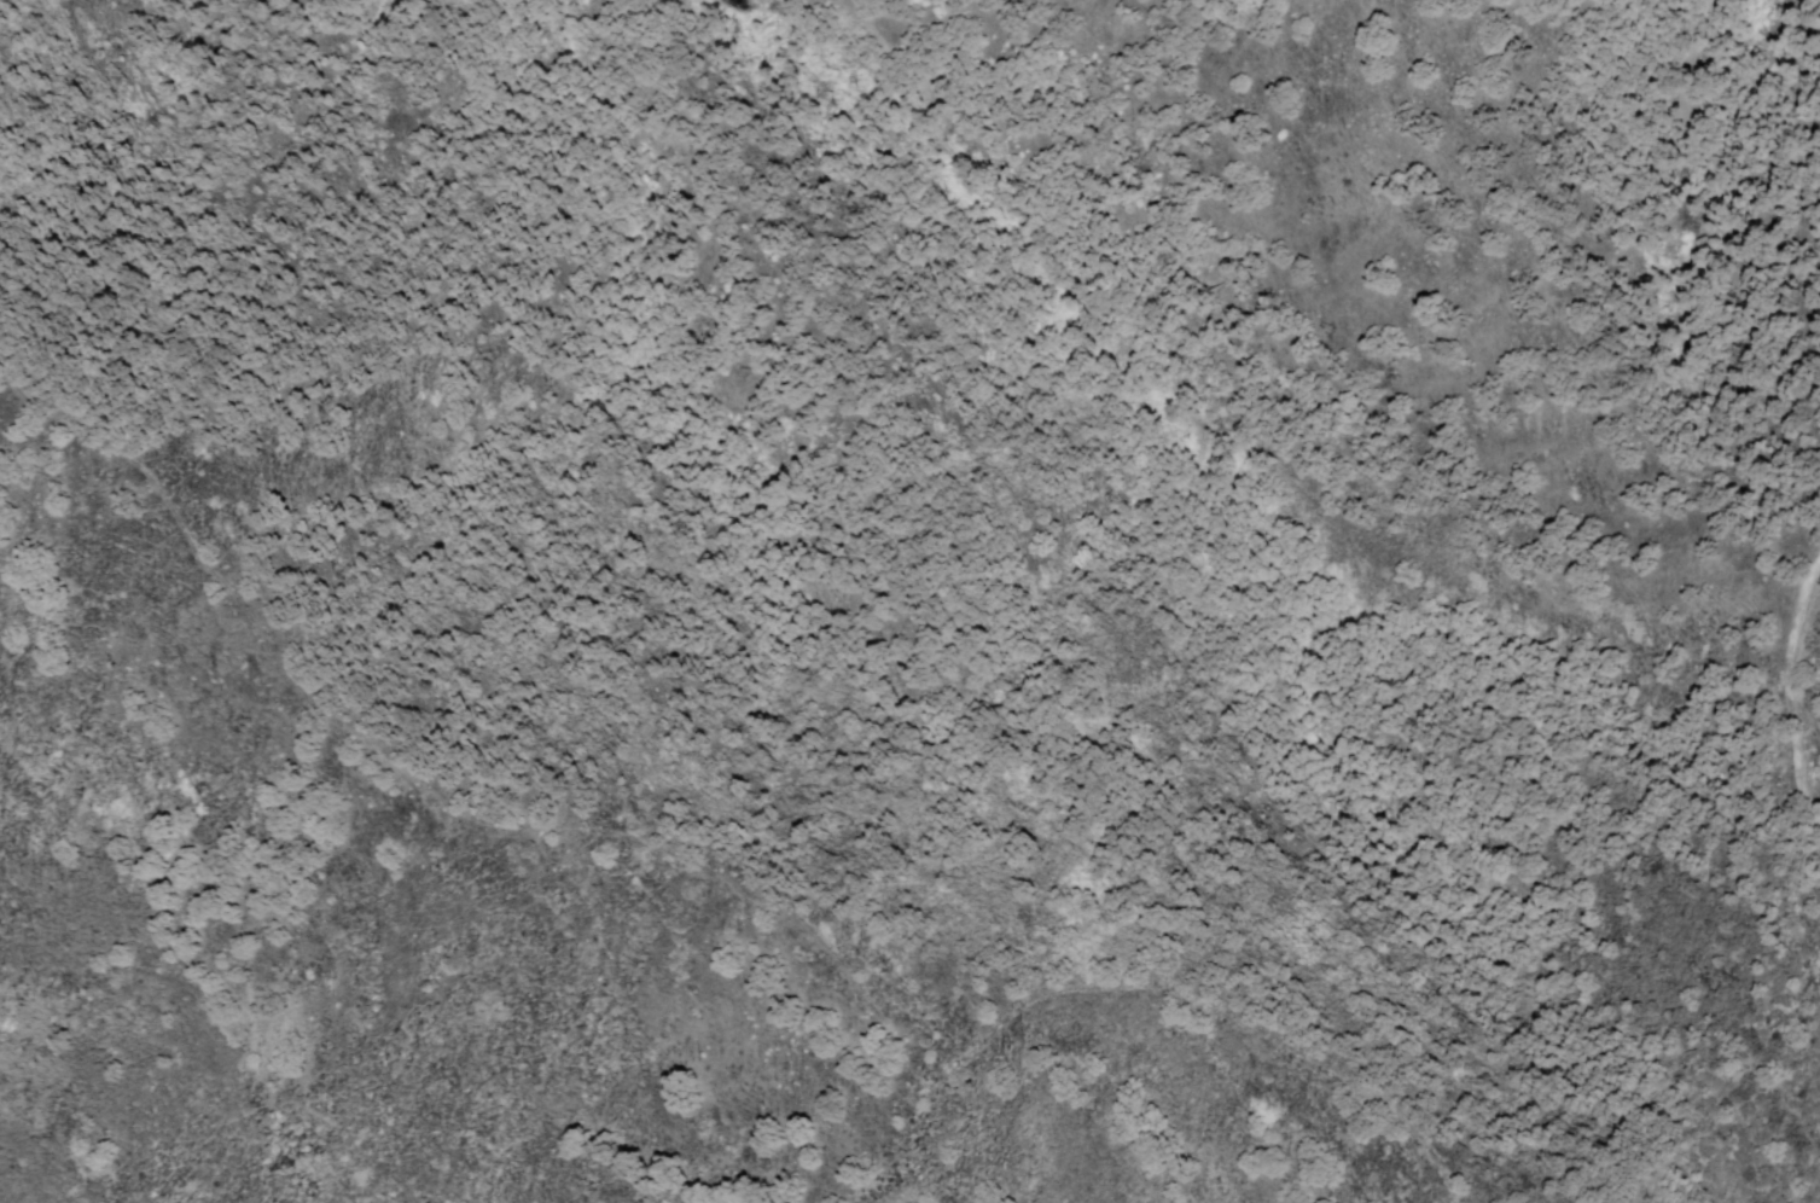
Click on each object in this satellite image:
road: (728, 887)

